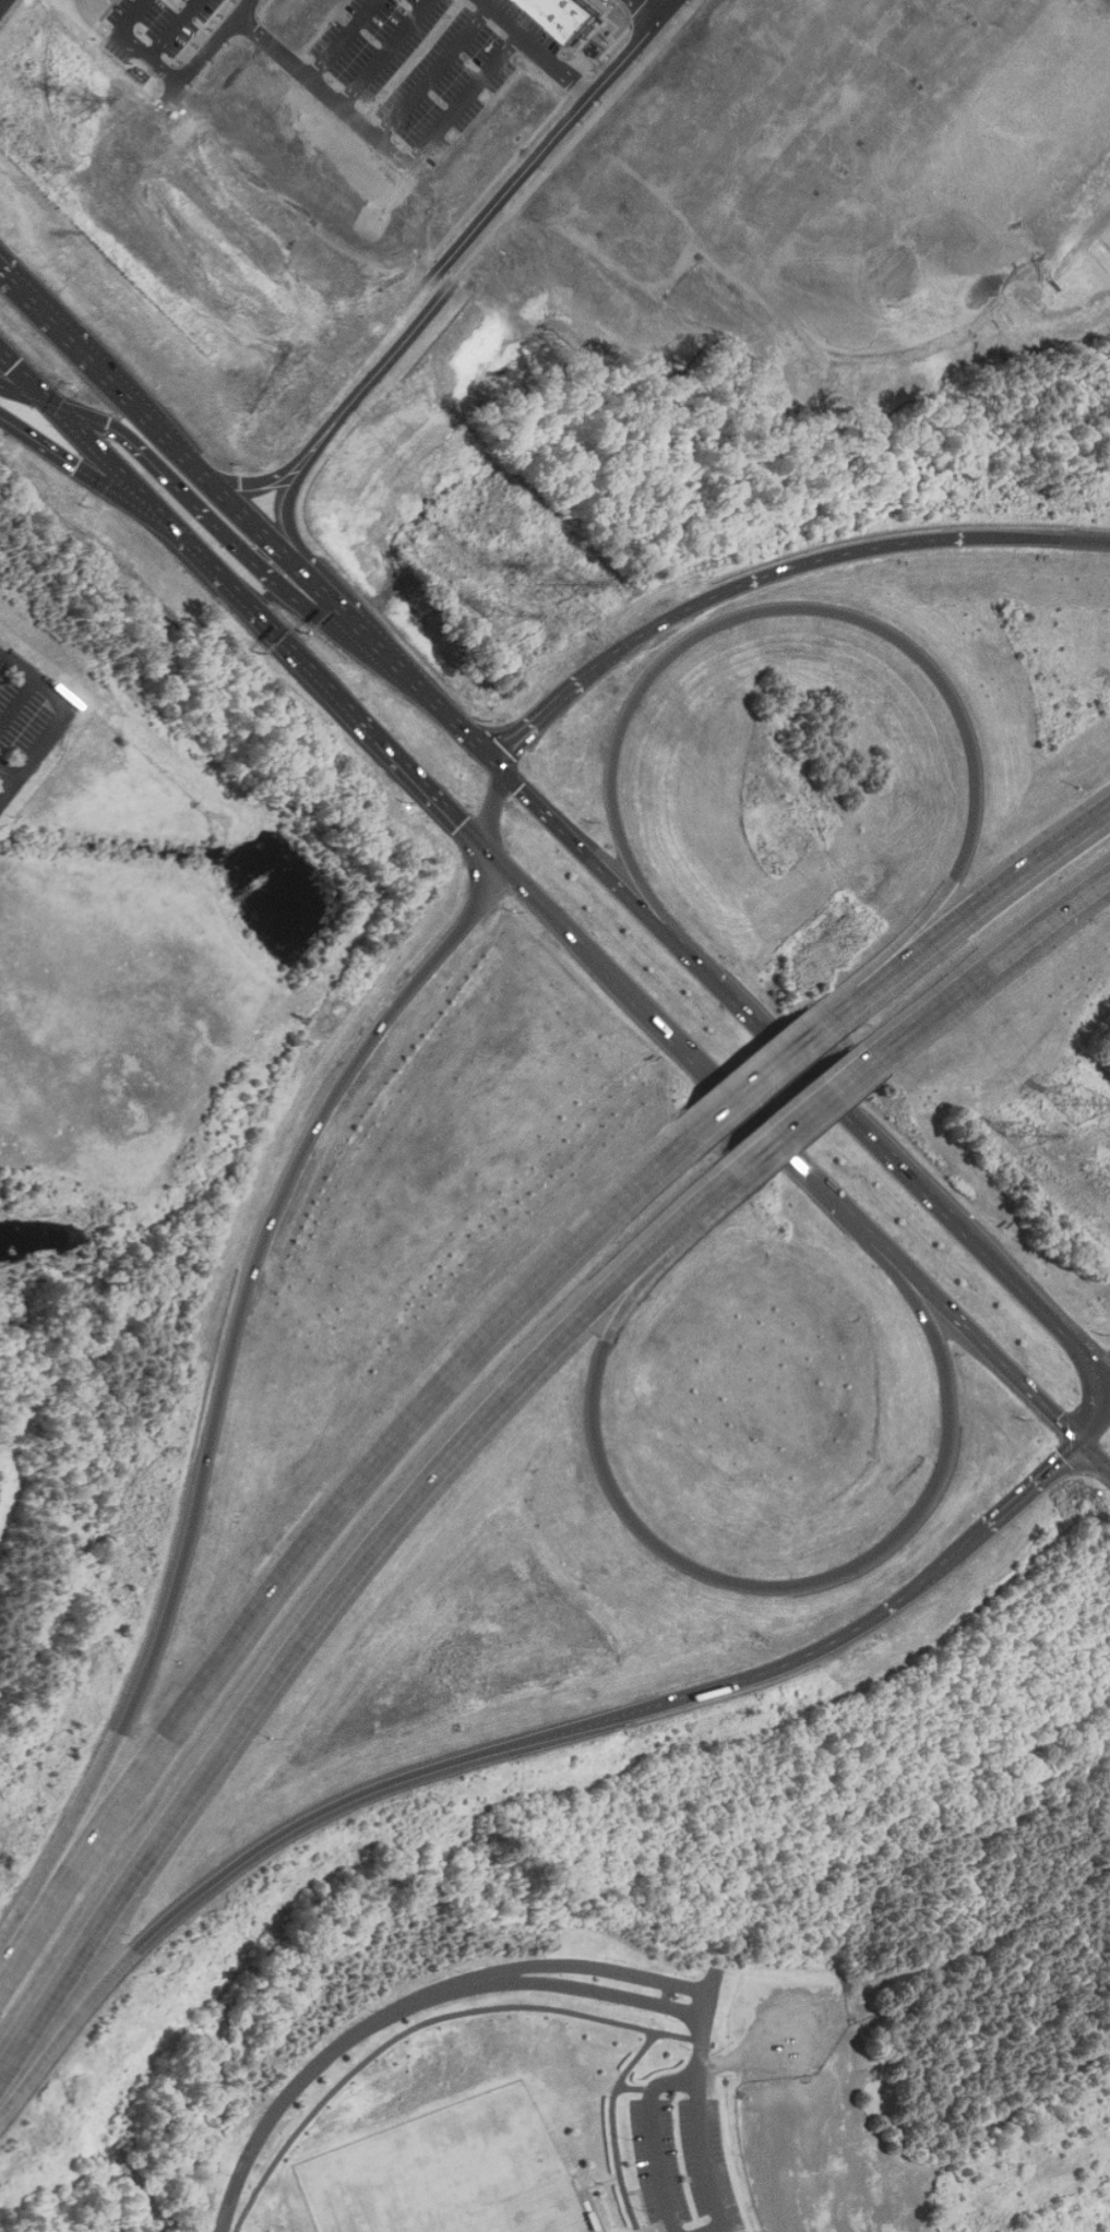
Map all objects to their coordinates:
road: (3, 3)
road: (668, 3)
road: (645, 10)
building: (578, 17)
road: (99, 21)
road: (177, 28)
road: (344, 40)
road: (135, 43)
road: (540, 47)
road: (207, 52)
road: (390, 55)
road: (438, 74)
road: (325, 94)
road: (469, 102)
power tower: (75, 105)
power tower: (55, 169)
road: (487, 227)
road: (31, 382)
road: (29, 405)
traffic signals: (58, 409)
road: (154, 420)
traffic signals: (106, 425)
traffic signals: (92, 476)
road: (262, 478)
road: (130, 508)
road: (157, 511)
road: (284, 517)
road: (231, 535)
road: (1054, 539)
road: (814, 560)
power tower: (559, 583)
road: (825, 611)
power tower: (500, 614)
road: (1, 653)
road: (387, 655)
road: (589, 671)
road: (19, 701)
road: (62, 714)
road: (370, 726)
road: (505, 735)
traffic signals: (493, 738)
road: (521, 742)
road: (485, 754)
traffic signals: (512, 756)
road: (5, 769)
traffic signals: (520, 788)
road: (492, 808)
traffic signals: (464, 823)
road: (607, 875)
road: (545, 903)
road: (966, 908)
road: (987, 962)
road: (763, 1074)
road: (739, 1098)
power tower: (1079, 1102)
road: (839, 1109)
road: (801, 1114)
power tower: (1019, 1134)
road: (1040, 1310)
road: (977, 1337)
road: (223, 1373)
road: (1098, 1417)
traffic signals: (1058, 1418)
road: (1095, 1456)
traffic signals: (1062, 1457)
road: (1034, 1482)
road: (321, 1520)
road: (944, 1565)
road: (728, 1580)
road: (335, 1588)
road: (765, 1670)
road: (559, 1729)
road: (212, 1870)
road: (564, 1960)
road: (1001, 1974)
road: (564, 1983)
park: (740, 1996)
road: (425, 2025)
parking lot: (793, 2029)
road: (634, 2087)
road: (297, 2091)
road: (702, 2108)
road: (617, 2126)
road: (657, 2137)
parking lot: (708, 2162)
road: (608, 2183)
road: (600, 2210)
road: (656, 2228)
road: (714, 2228)
road: (651, 2231)

